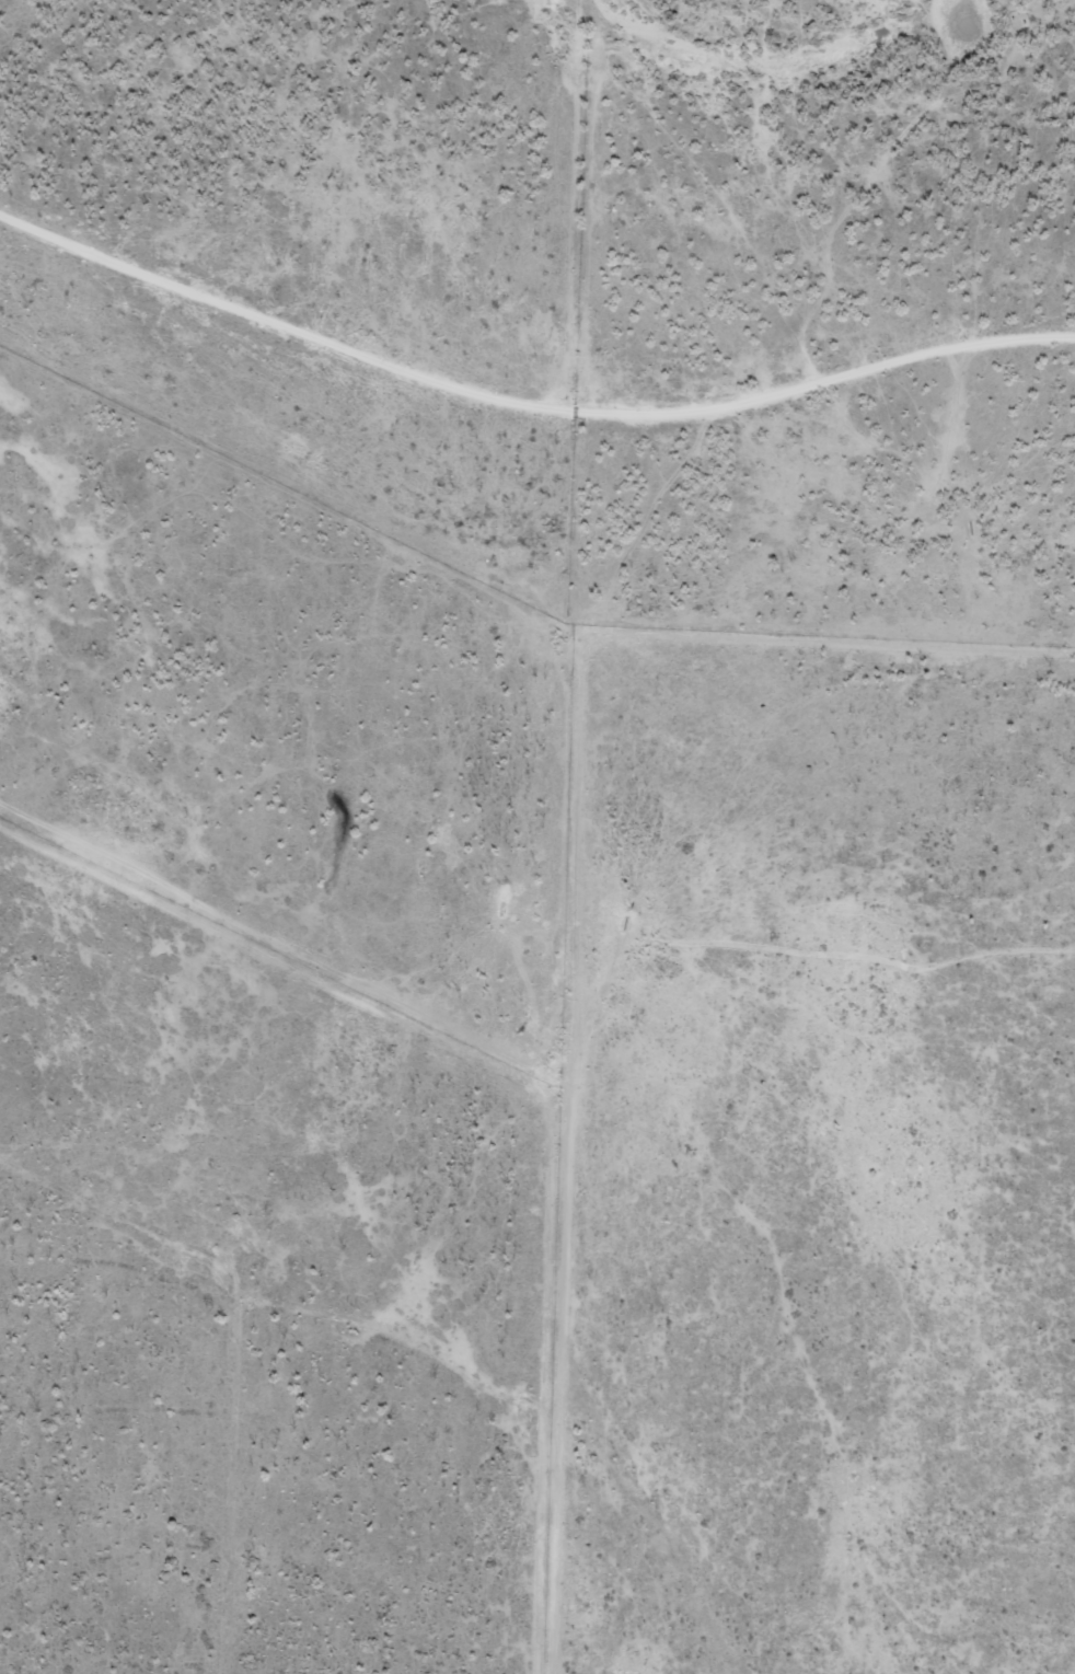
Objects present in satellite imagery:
road: (522, 423)

